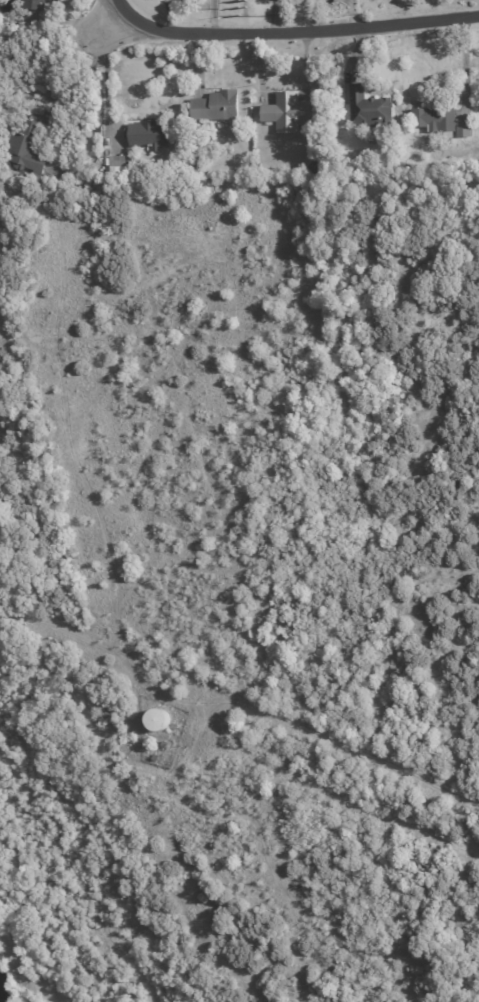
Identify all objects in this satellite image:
building: (58, 0)
building: (38, 4)
road: (280, 22)
road: (106, 78)
building: (218, 107)
building: (368, 108)
building: (291, 111)
building: (438, 121)
building: (467, 131)
building: (150, 135)
building: (29, 150)
building: (456, 164)
building: (119, 168)
building: (320, 168)
building: (196, 169)
building: (410, 169)
building: (25, 177)
building: (152, 719)
building: (165, 744)
building: (155, 757)

